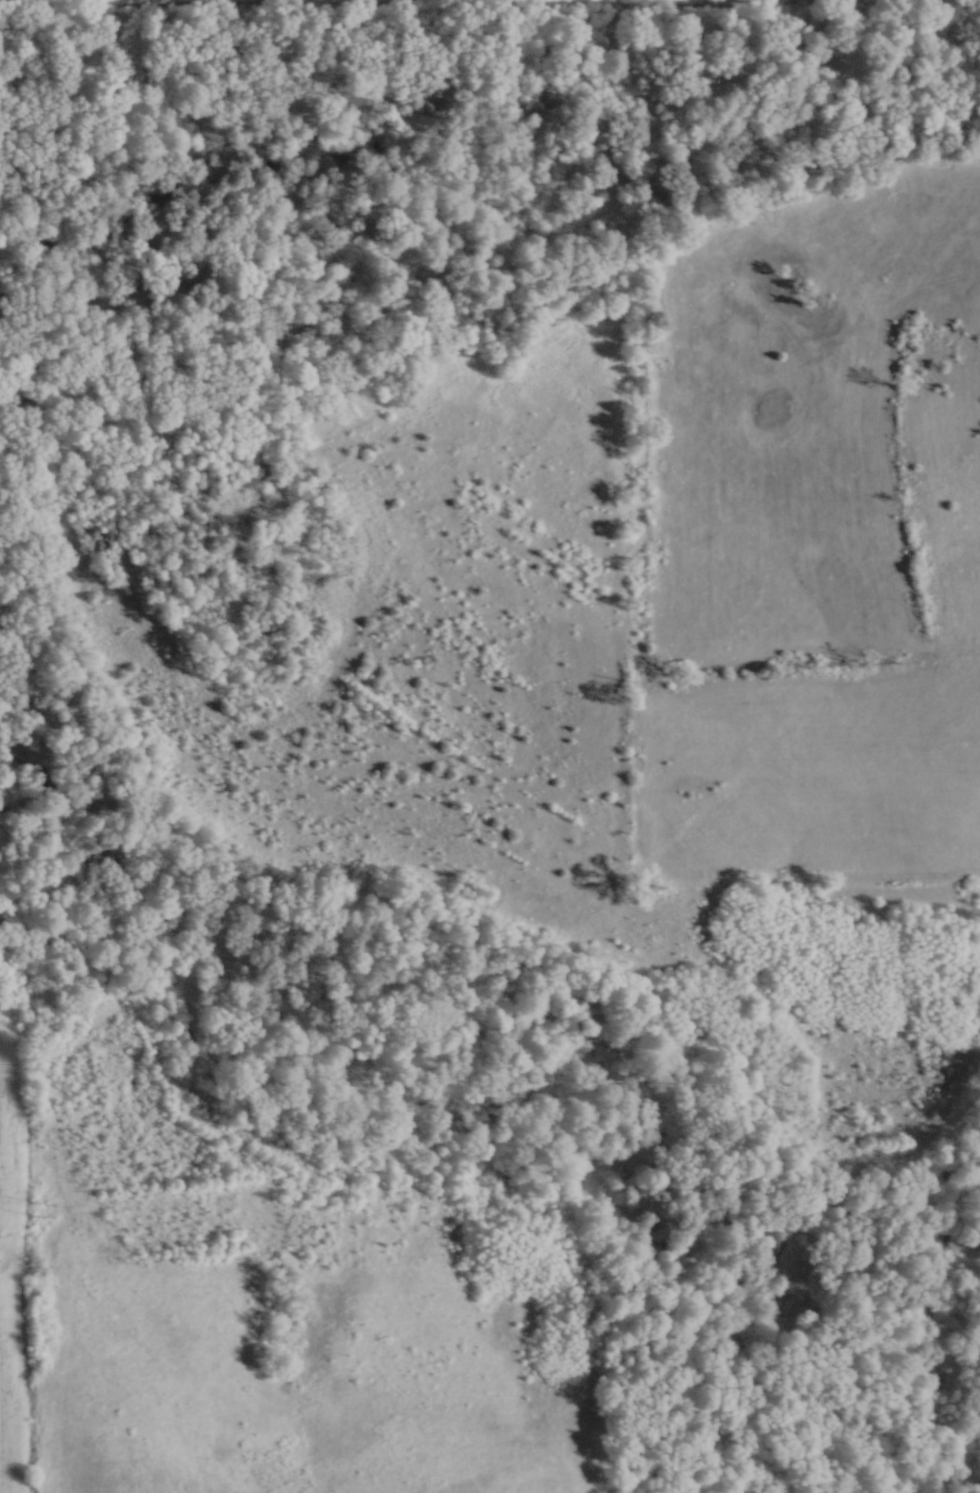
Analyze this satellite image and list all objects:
power tower: (45, 1209)

